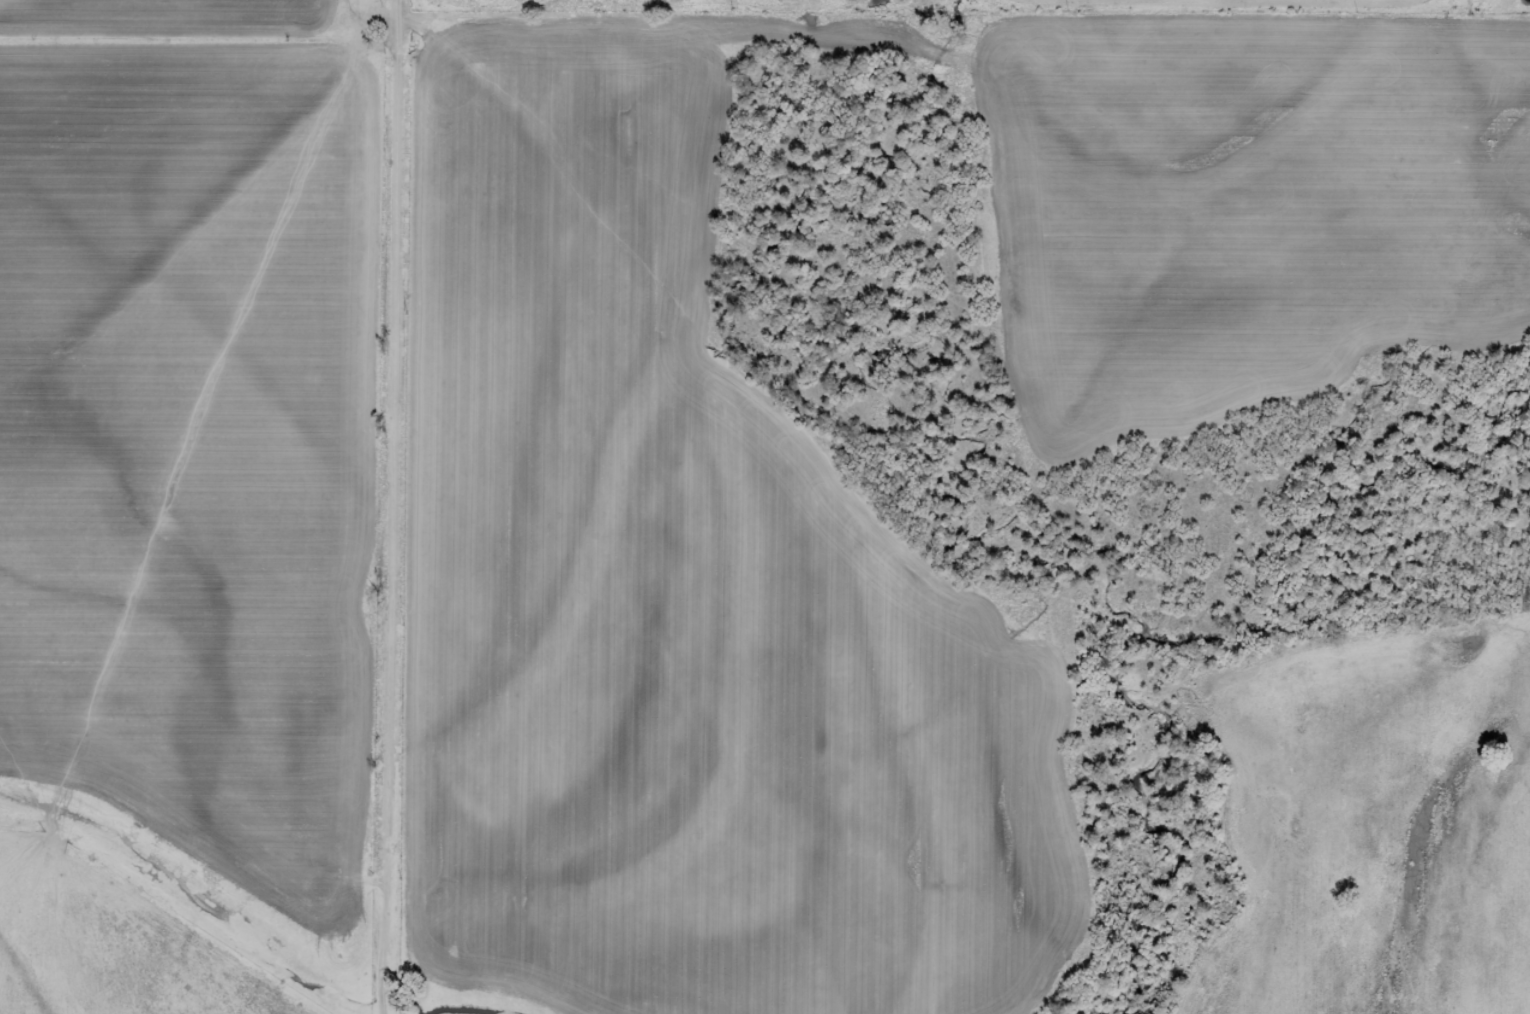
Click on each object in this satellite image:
road: (388, 576)
road: (162, 690)

